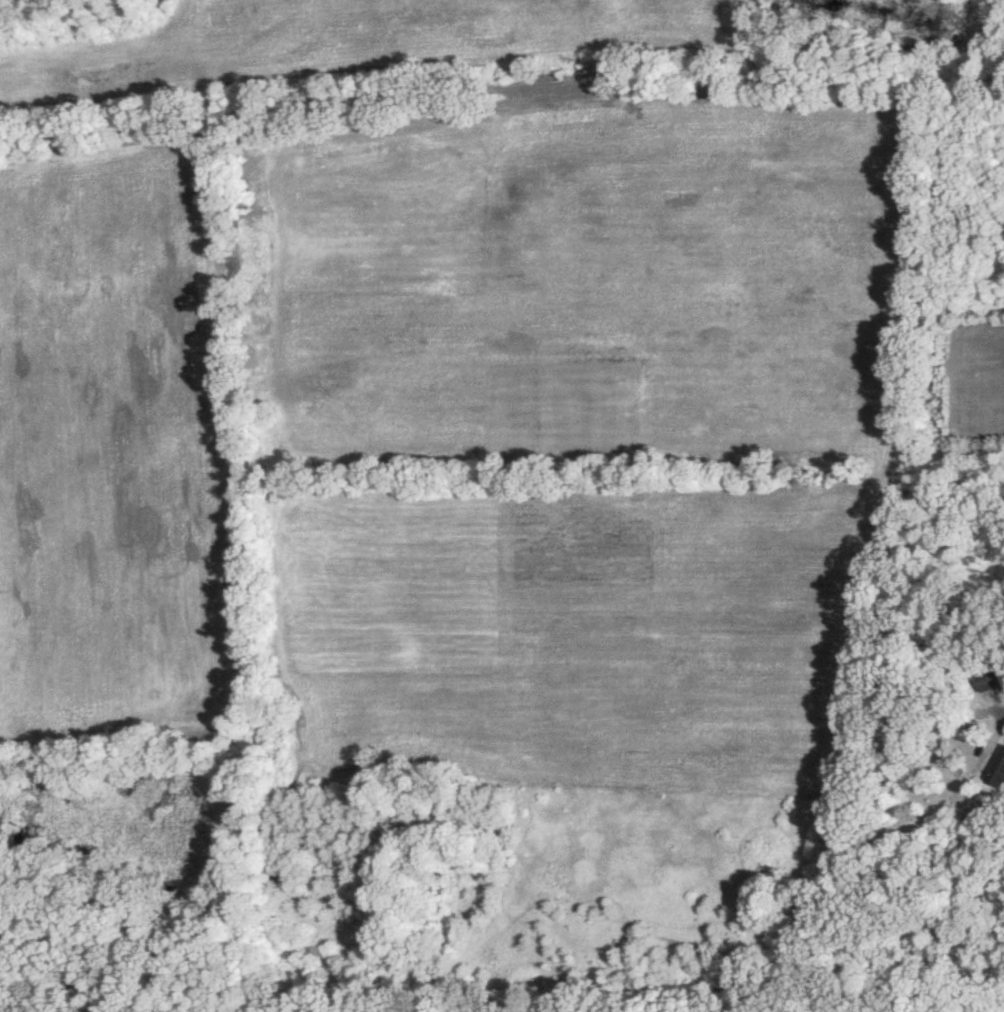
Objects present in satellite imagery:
building: (990, 681)
road: (1000, 719)
building: (996, 769)

